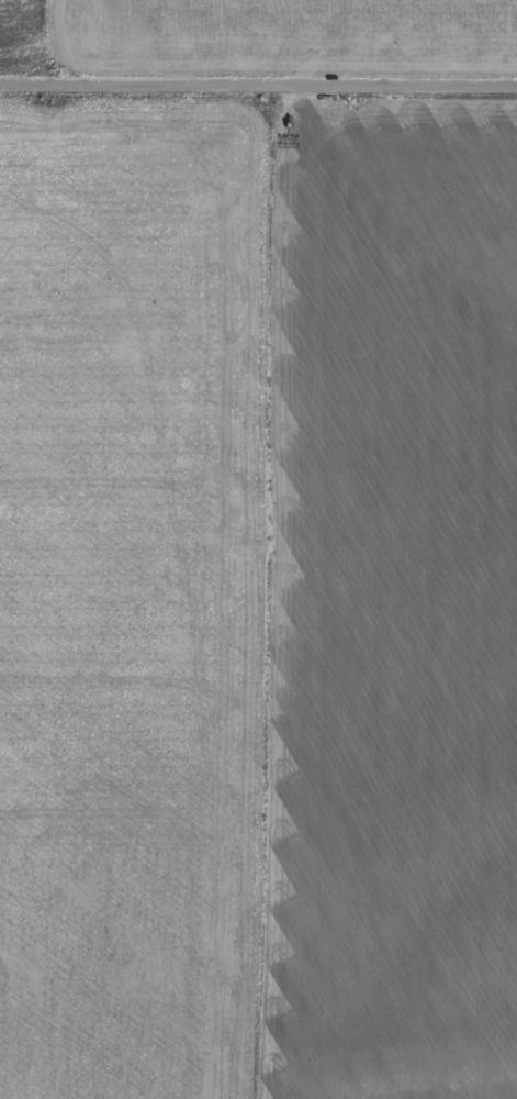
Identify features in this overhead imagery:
road: (258, 101)

